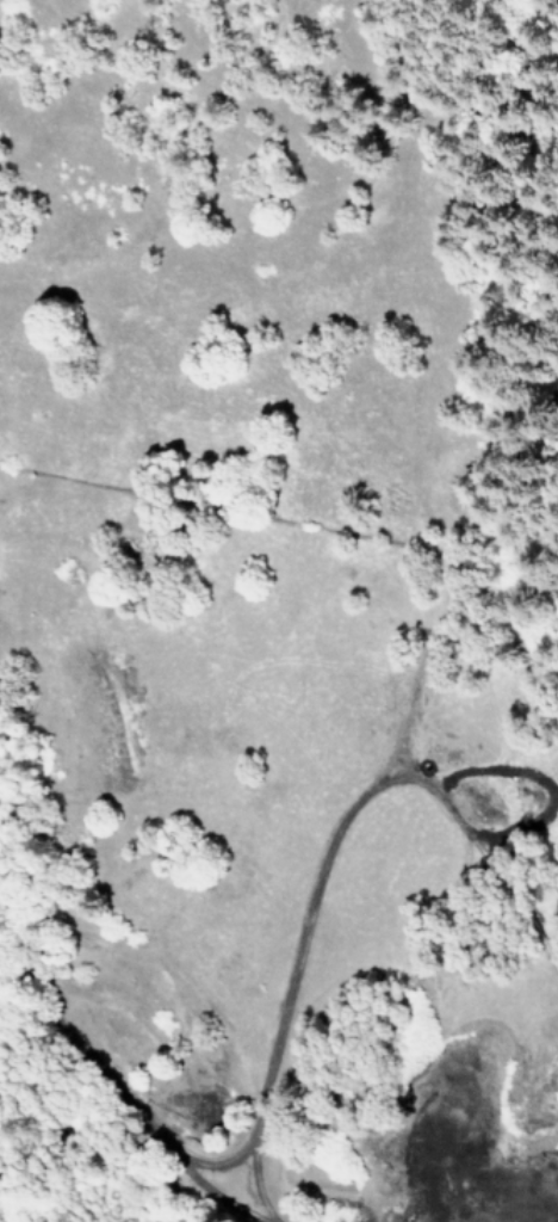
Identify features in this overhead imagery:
road: (132, 1118)

